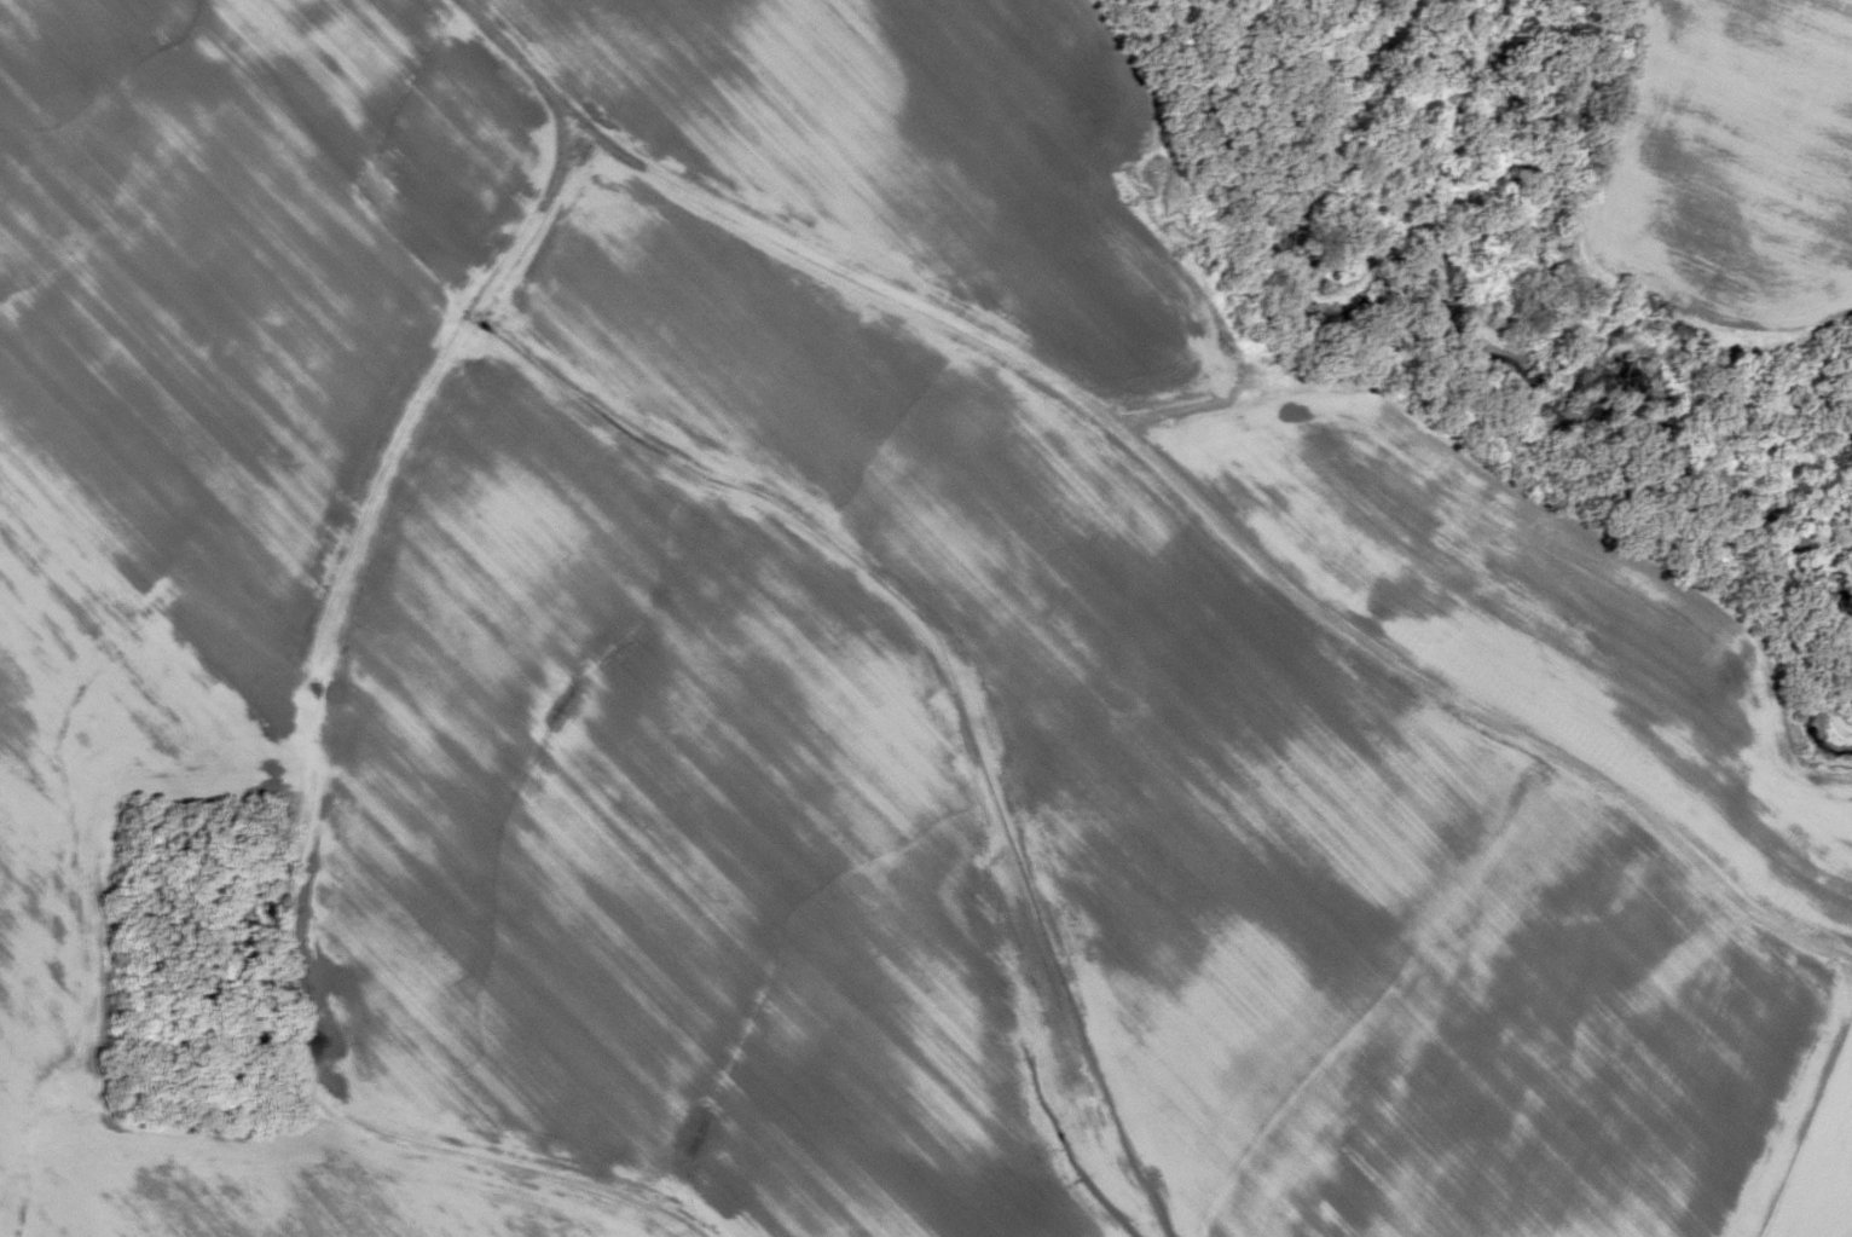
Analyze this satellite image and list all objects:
road: (1225, 522)
road: (342, 677)

